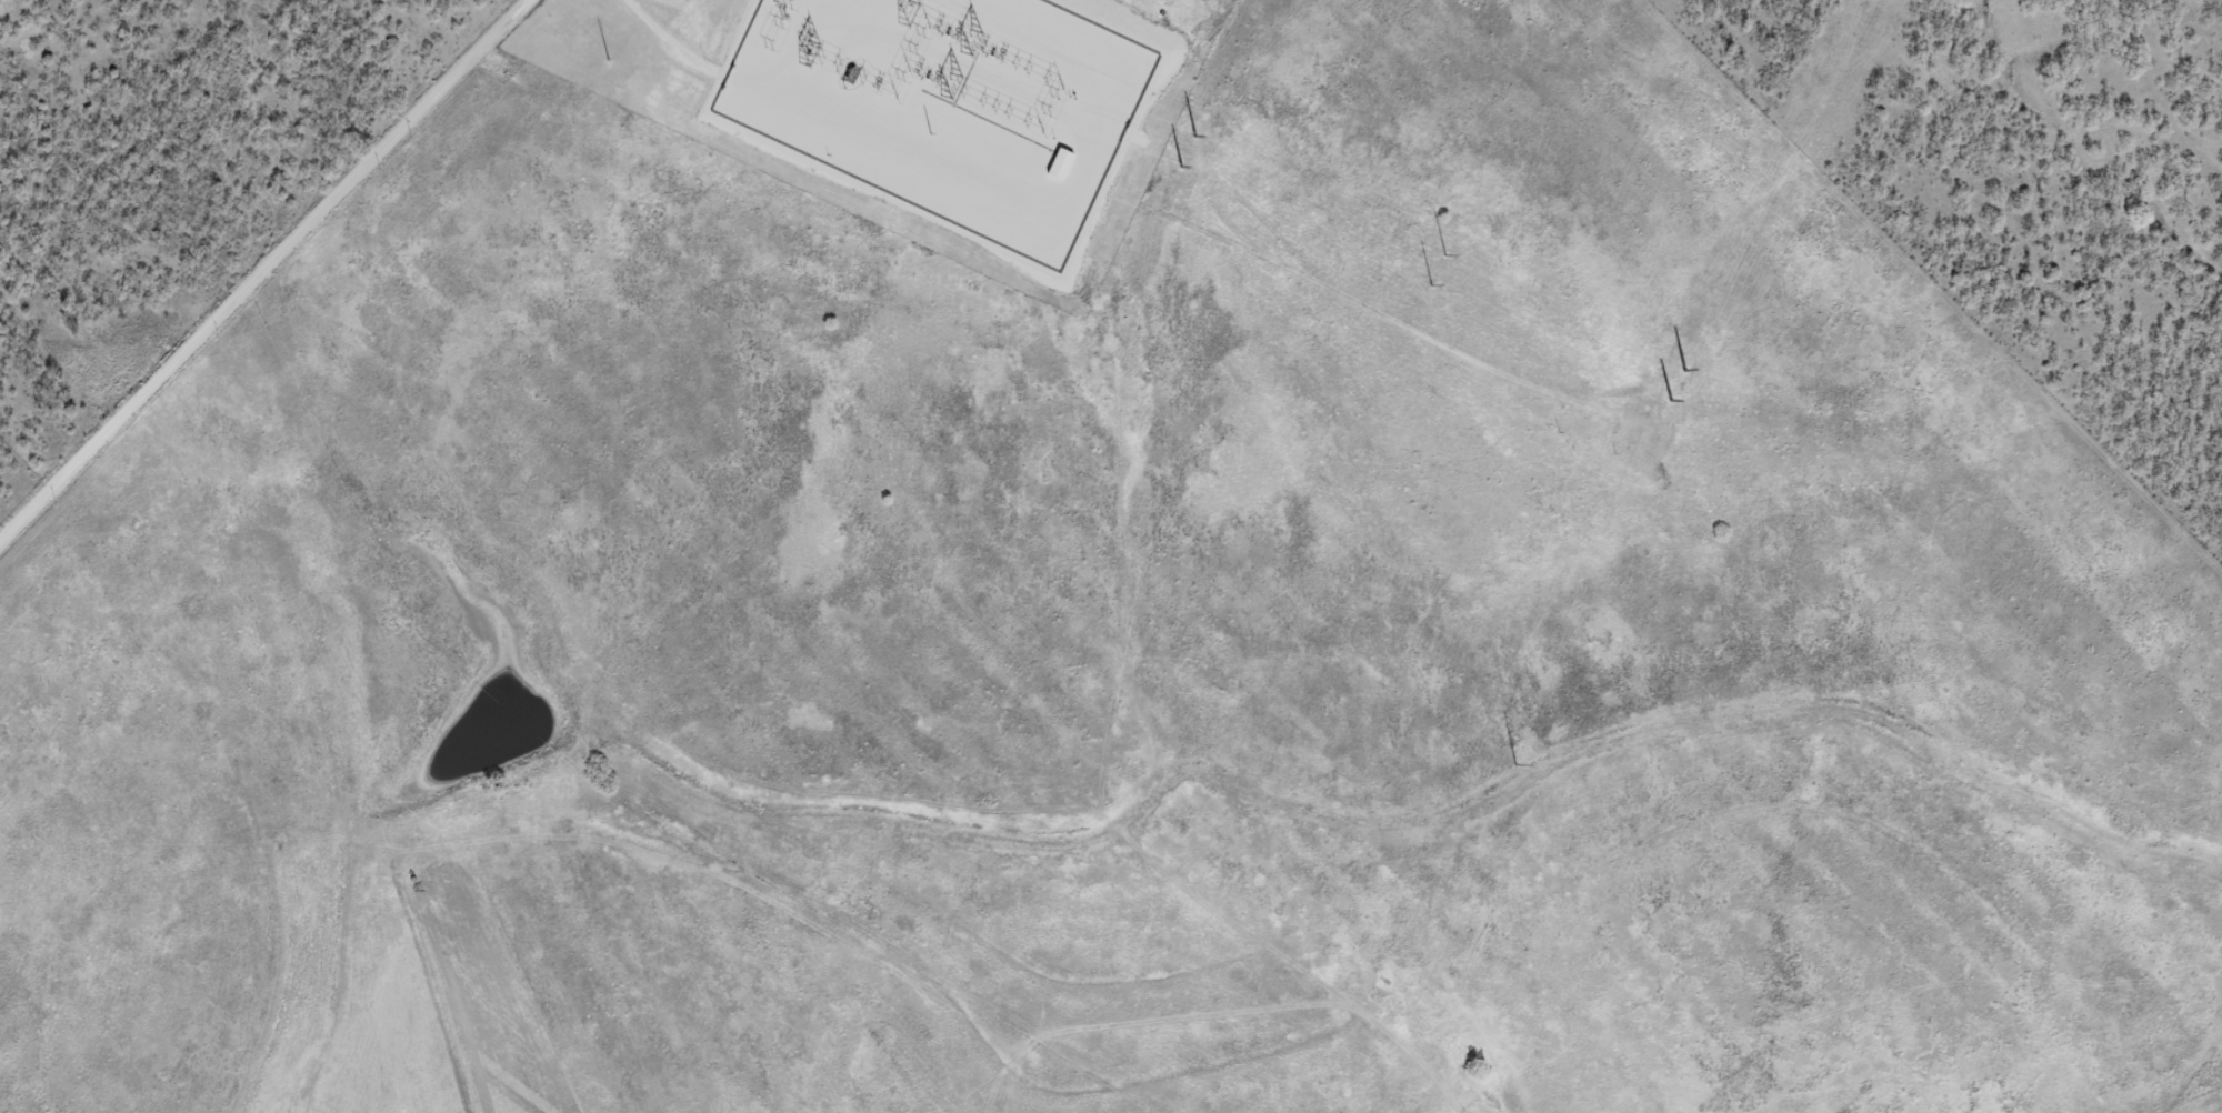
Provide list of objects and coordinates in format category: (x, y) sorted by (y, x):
power substation: (950, 103)
road: (261, 271)

